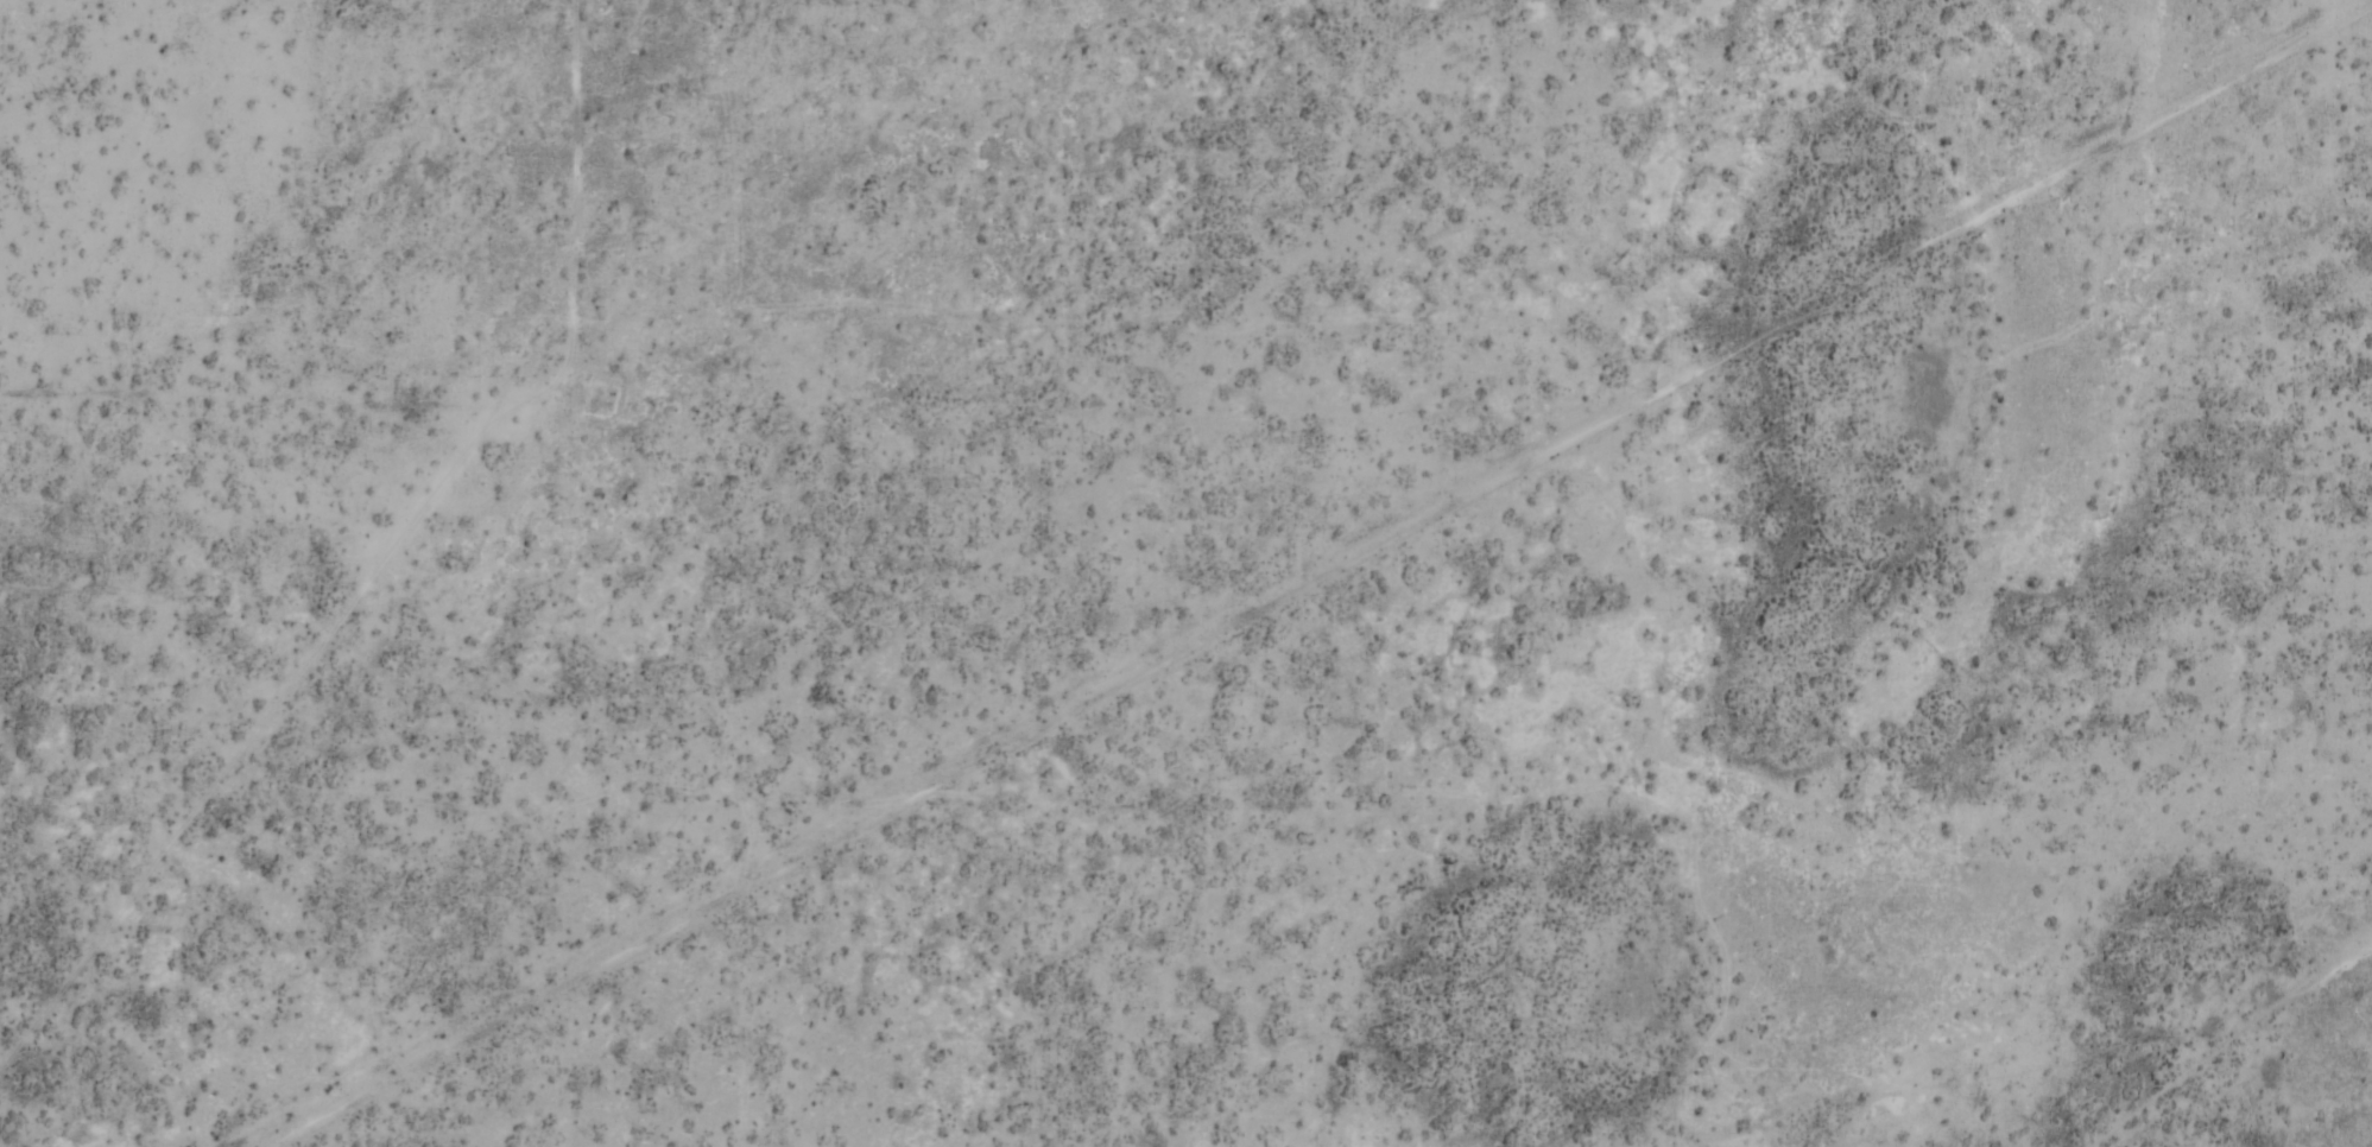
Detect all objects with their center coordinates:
road: (2302, 144)

